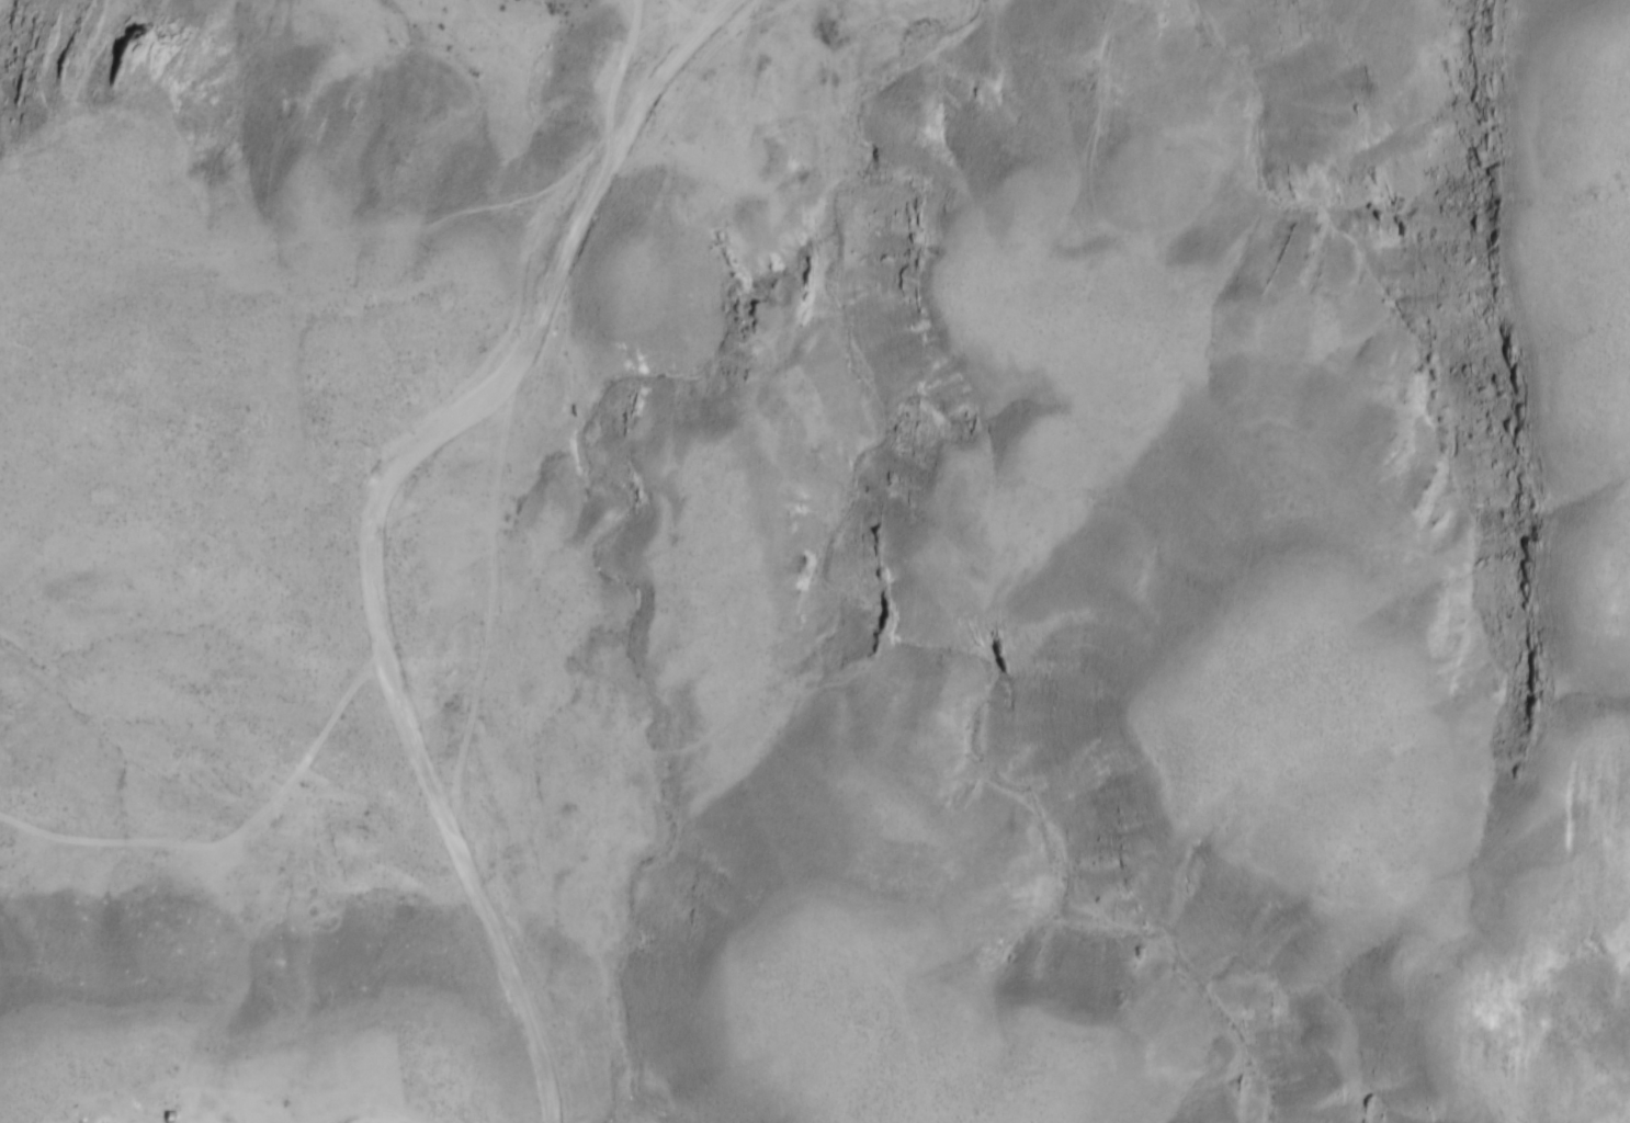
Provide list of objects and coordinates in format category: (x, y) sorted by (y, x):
road: (636, 120)

